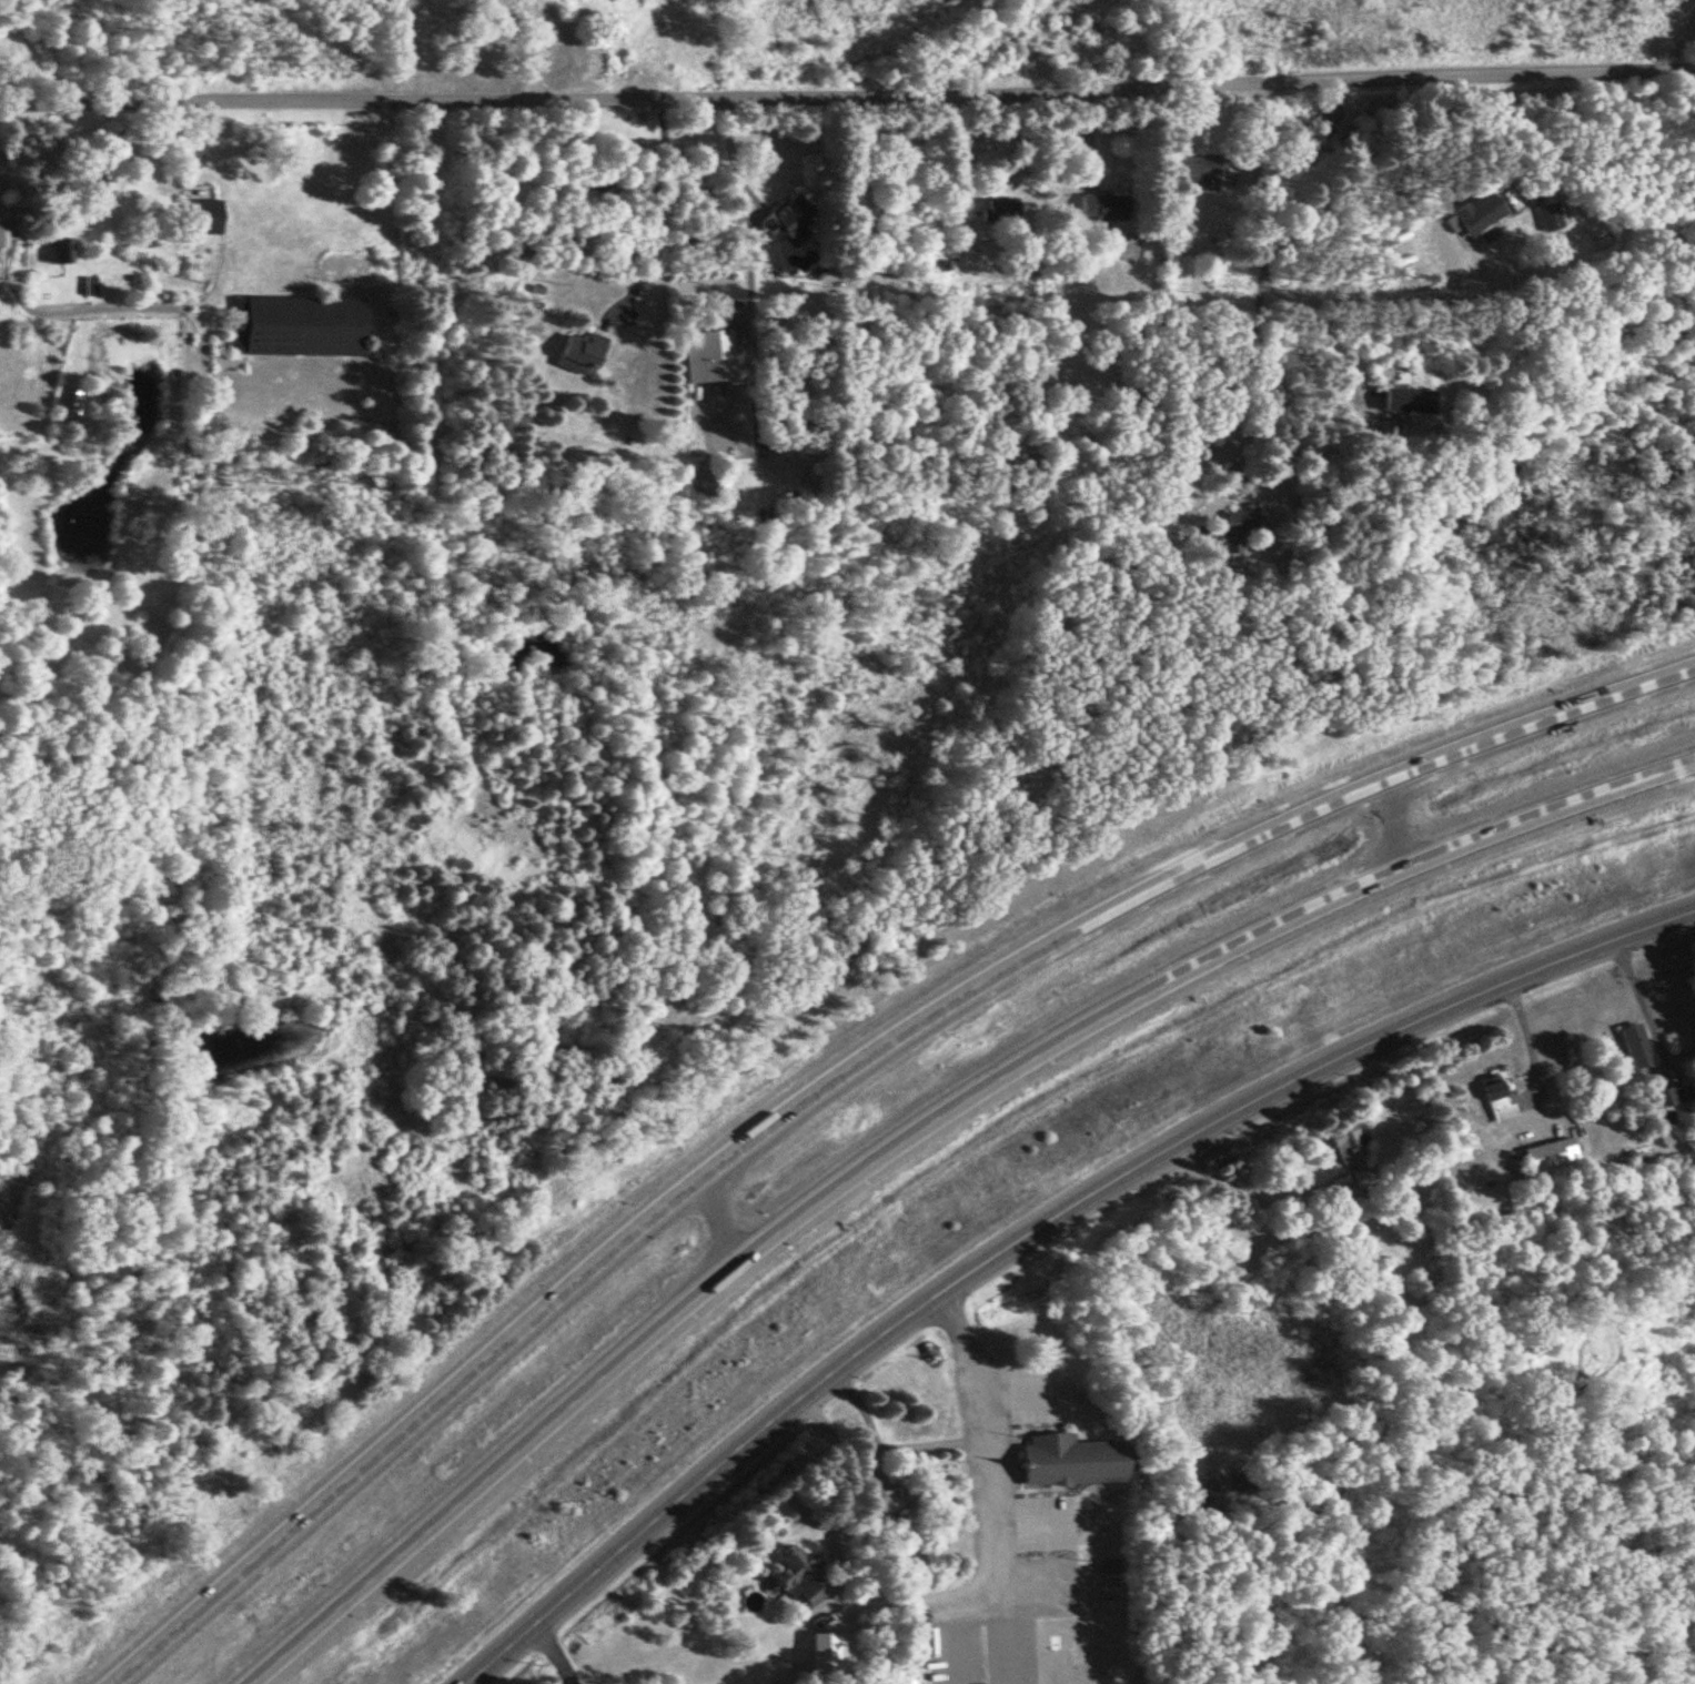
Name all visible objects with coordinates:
road: (847, 89)
road: (728, 162)
building: (1197, 168)
building: (85, 178)
road: (1271, 184)
building: (1104, 206)
building: (999, 208)
building: (201, 214)
building: (1550, 214)
building: (785, 215)
building: (1476, 215)
building: (1, 232)
building: (58, 249)
road: (1393, 291)
road: (1320, 334)
building: (578, 351)
building: (707, 354)
road: (1242, 382)
building: (1406, 400)
building: (72, 402)
building: (713, 485)
building: (1235, 528)
road: (1425, 758)
road: (1392, 819)
road: (1429, 855)
road: (1639, 1001)
road: (1425, 1011)
road: (1525, 1040)
building: (1633, 1045)
building: (1667, 1093)
building: (1349, 1151)
building: (1547, 1154)
road: (1244, 1188)
road: (716, 1218)
road: (611, 1249)
road: (684, 1302)
road: (798, 1393)
road: (881, 1446)
building: (1069, 1460)
building: (788, 1564)
building: (1104, 1565)
building: (808, 1591)
road: (960, 1595)
road: (552, 1652)
building: (821, 1656)

